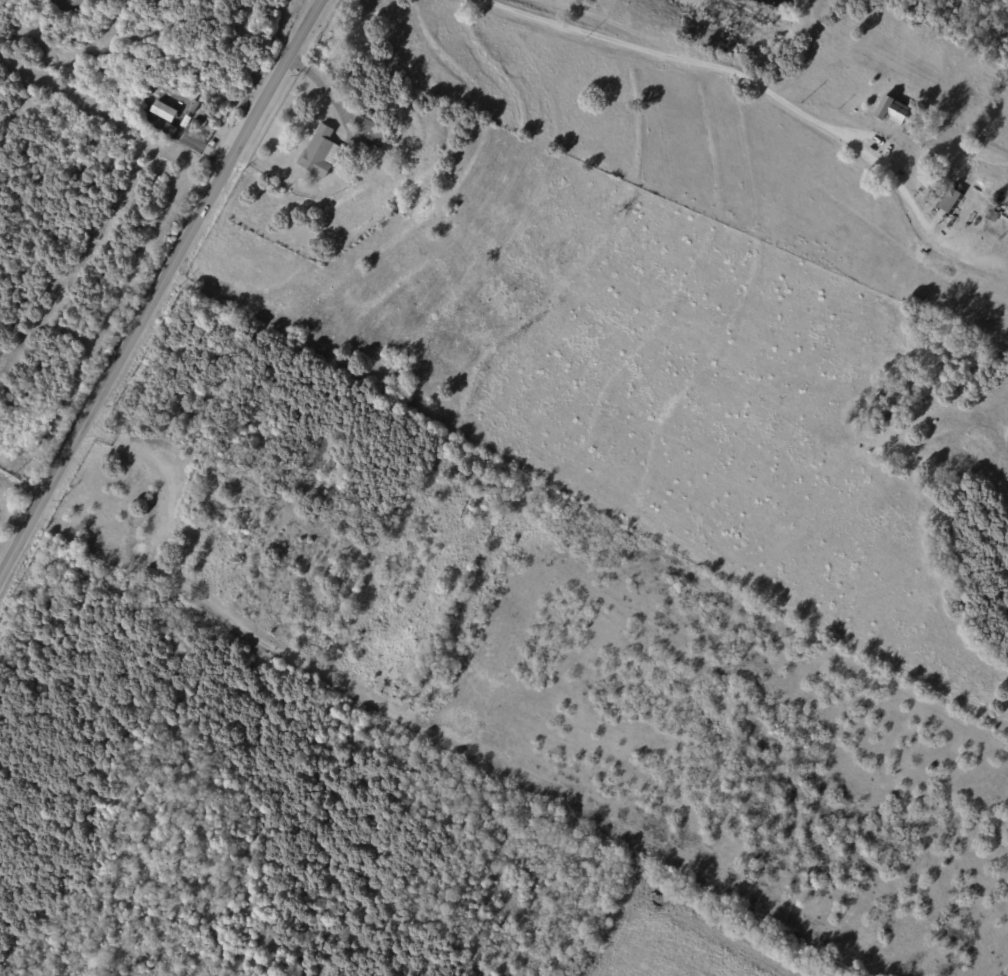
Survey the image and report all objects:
road: (675, 57)
building: (348, 102)
building: (193, 105)
building: (164, 110)
building: (894, 111)
building: (185, 121)
building: (169, 127)
building: (908, 132)
building: (373, 133)
building: (974, 150)
building: (322, 153)
building: (445, 170)
building: (936, 172)
building: (901, 173)
building: (929, 184)
building: (427, 193)
building: (948, 200)
building: (411, 205)
building: (452, 205)
building: (994, 216)
road: (166, 295)
building: (233, 534)
building: (186, 558)
crop: (674, 951)

